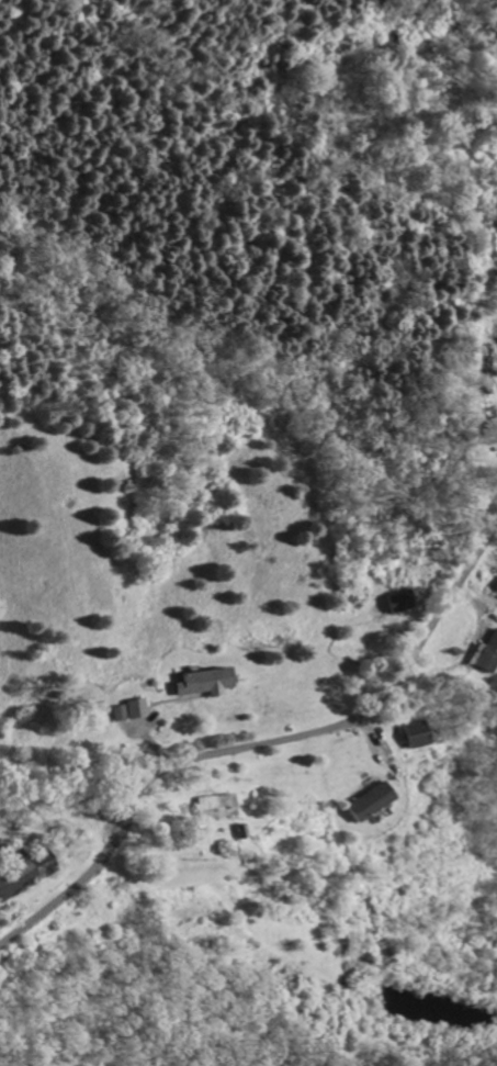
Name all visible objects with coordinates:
road: (470, 322)
building: (495, 593)
building: (400, 602)
building: (489, 653)
building: (204, 682)
building: (136, 708)
building: (118, 714)
building: (417, 734)
road: (257, 748)
building: (372, 800)
building: (217, 805)

